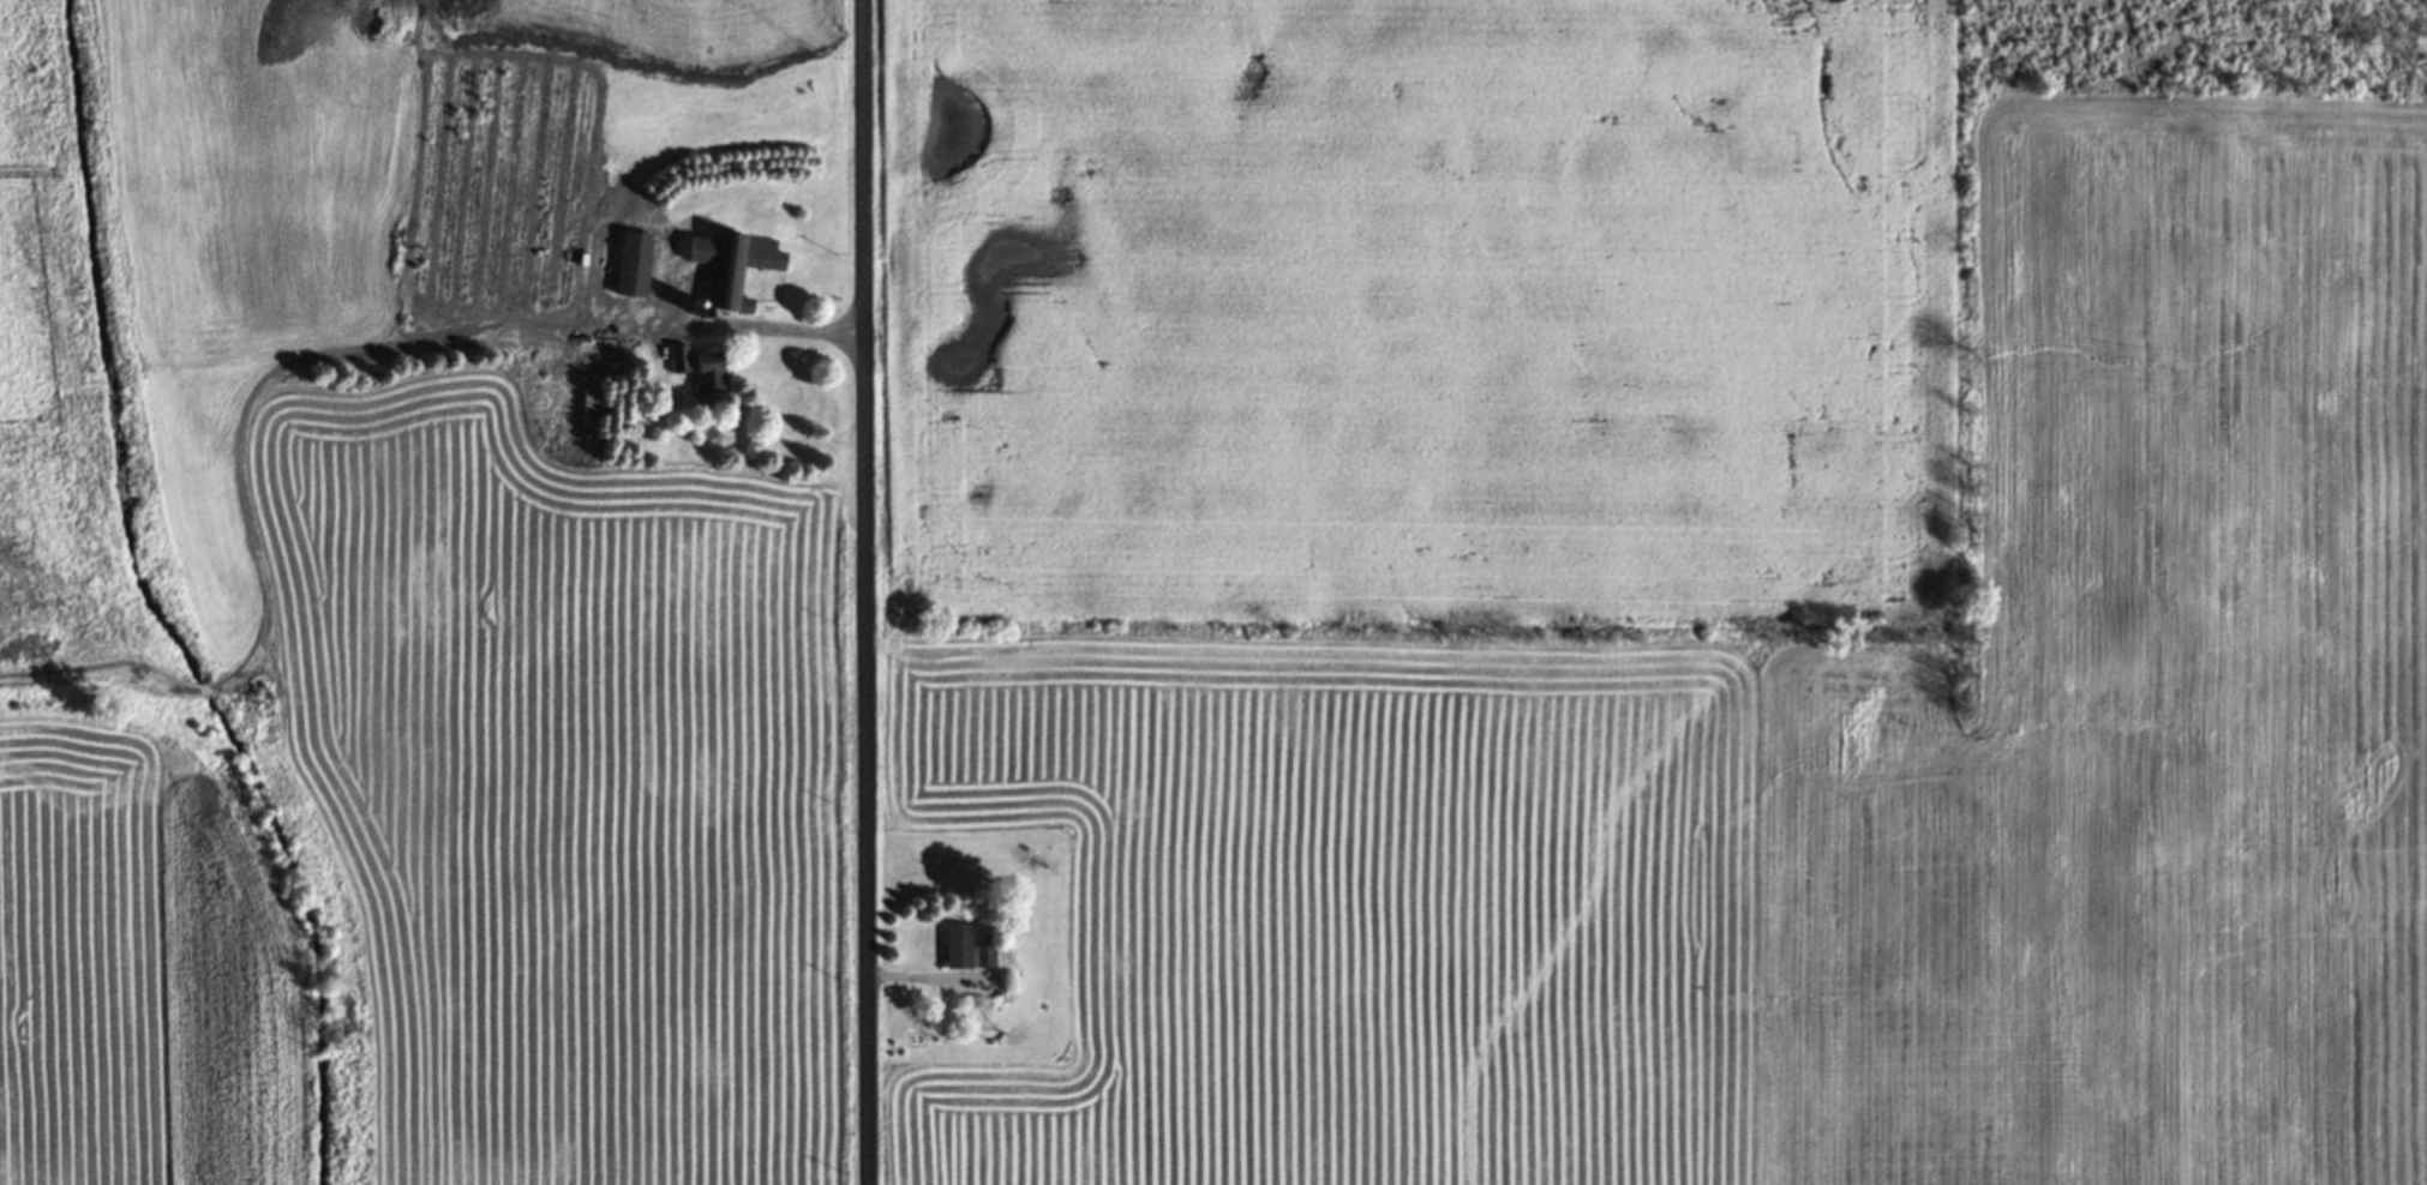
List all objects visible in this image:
building: (630, 263)
building: (730, 264)
road: (737, 324)
building: (701, 371)
road: (863, 591)
building: (961, 949)

